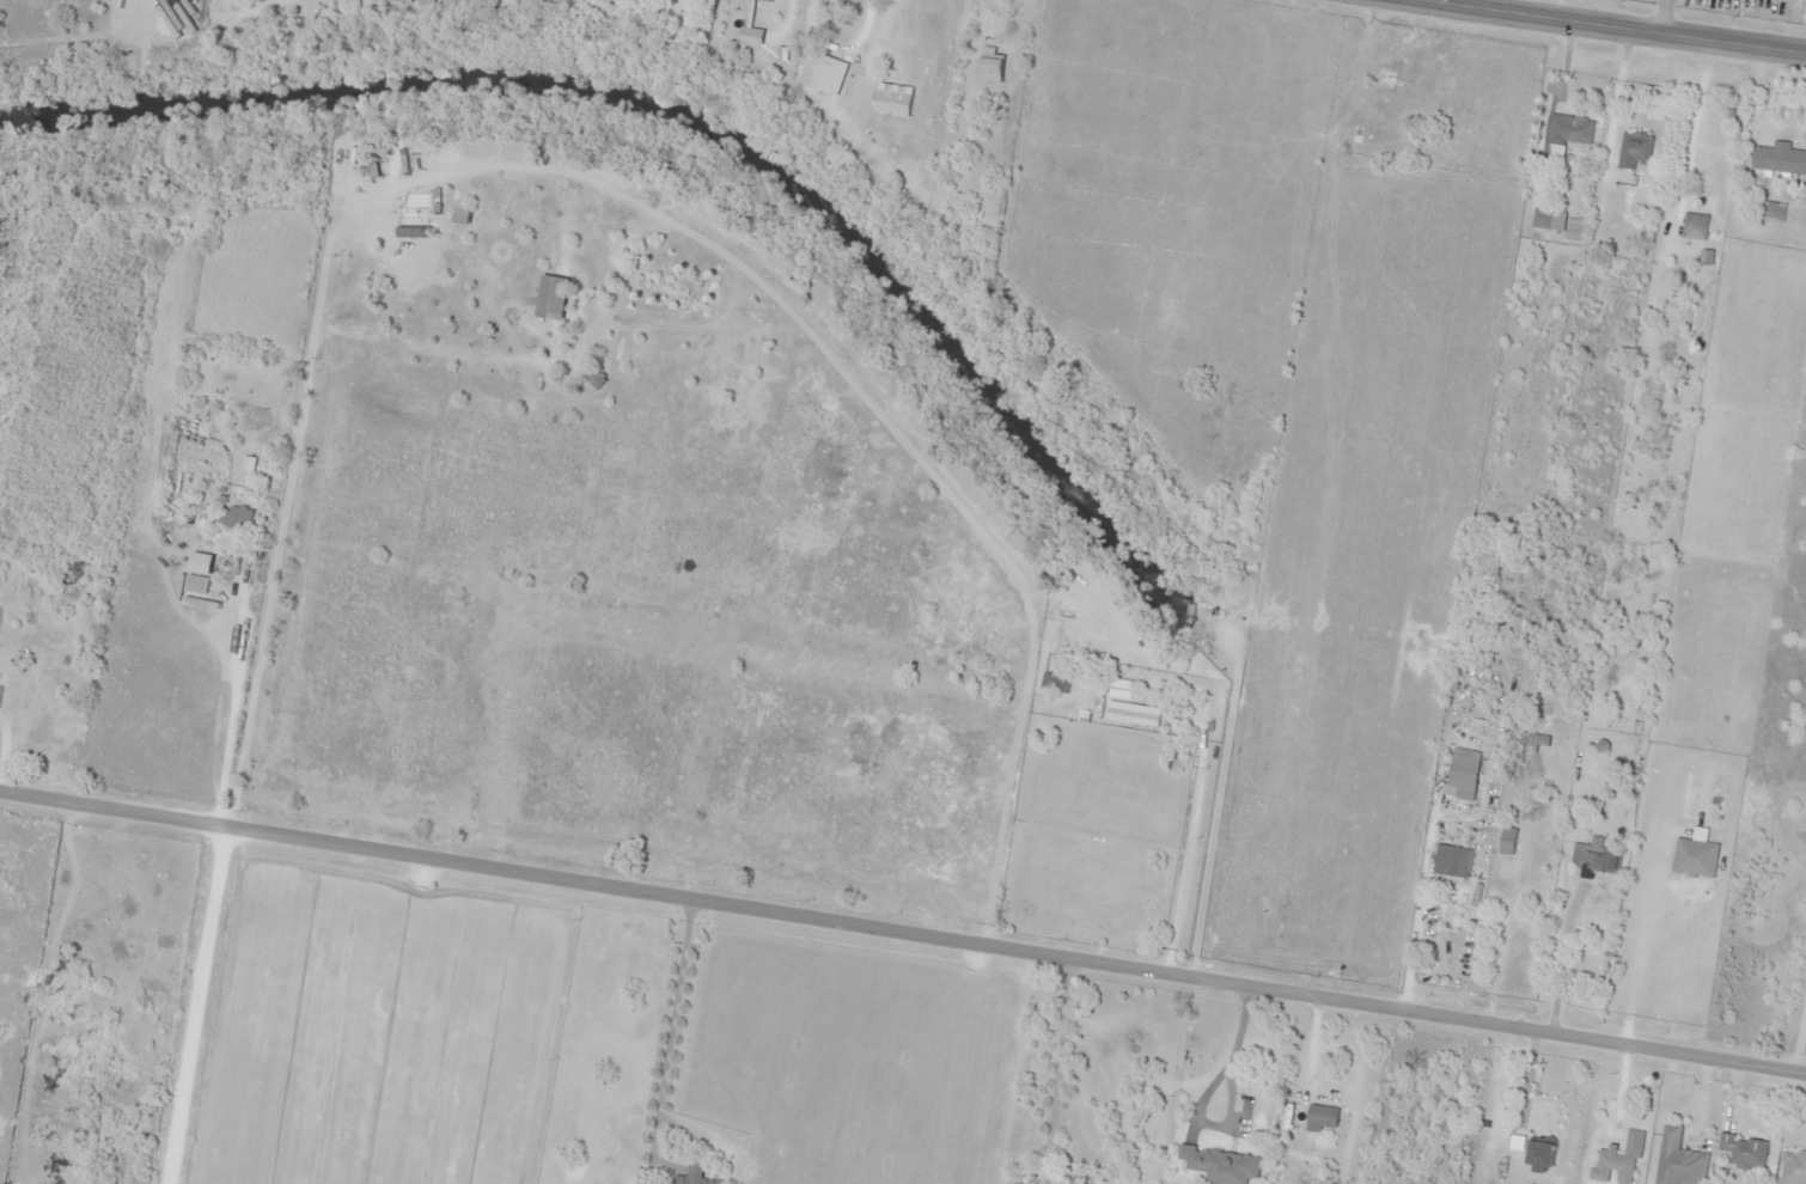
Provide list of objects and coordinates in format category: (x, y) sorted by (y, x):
building: (401, 0)
building: (768, 0)
building: (829, 4)
road: (1634, 25)
building: (759, 59)
building: (989, 69)
building: (1379, 120)
building: (1576, 129)
building: (1633, 149)
building: (1777, 158)
building: (382, 166)
building: (1539, 218)
building: (1692, 222)
building: (550, 298)
building: (236, 517)
building: (196, 584)
building: (1054, 682)
building: (1118, 689)
building: (1532, 739)
building: (1460, 773)
building: (1506, 841)
building: (1587, 854)
building: (1450, 861)
road: (903, 932)
road: (205, 1018)
building: (1226, 1098)
building: (1320, 1116)
building: (1741, 1151)
building: (1538, 1154)
building: (1677, 1159)
building: (1792, 1166)
building: (1198, 1168)
building: (692, 1177)
building: (1006, 1183)

